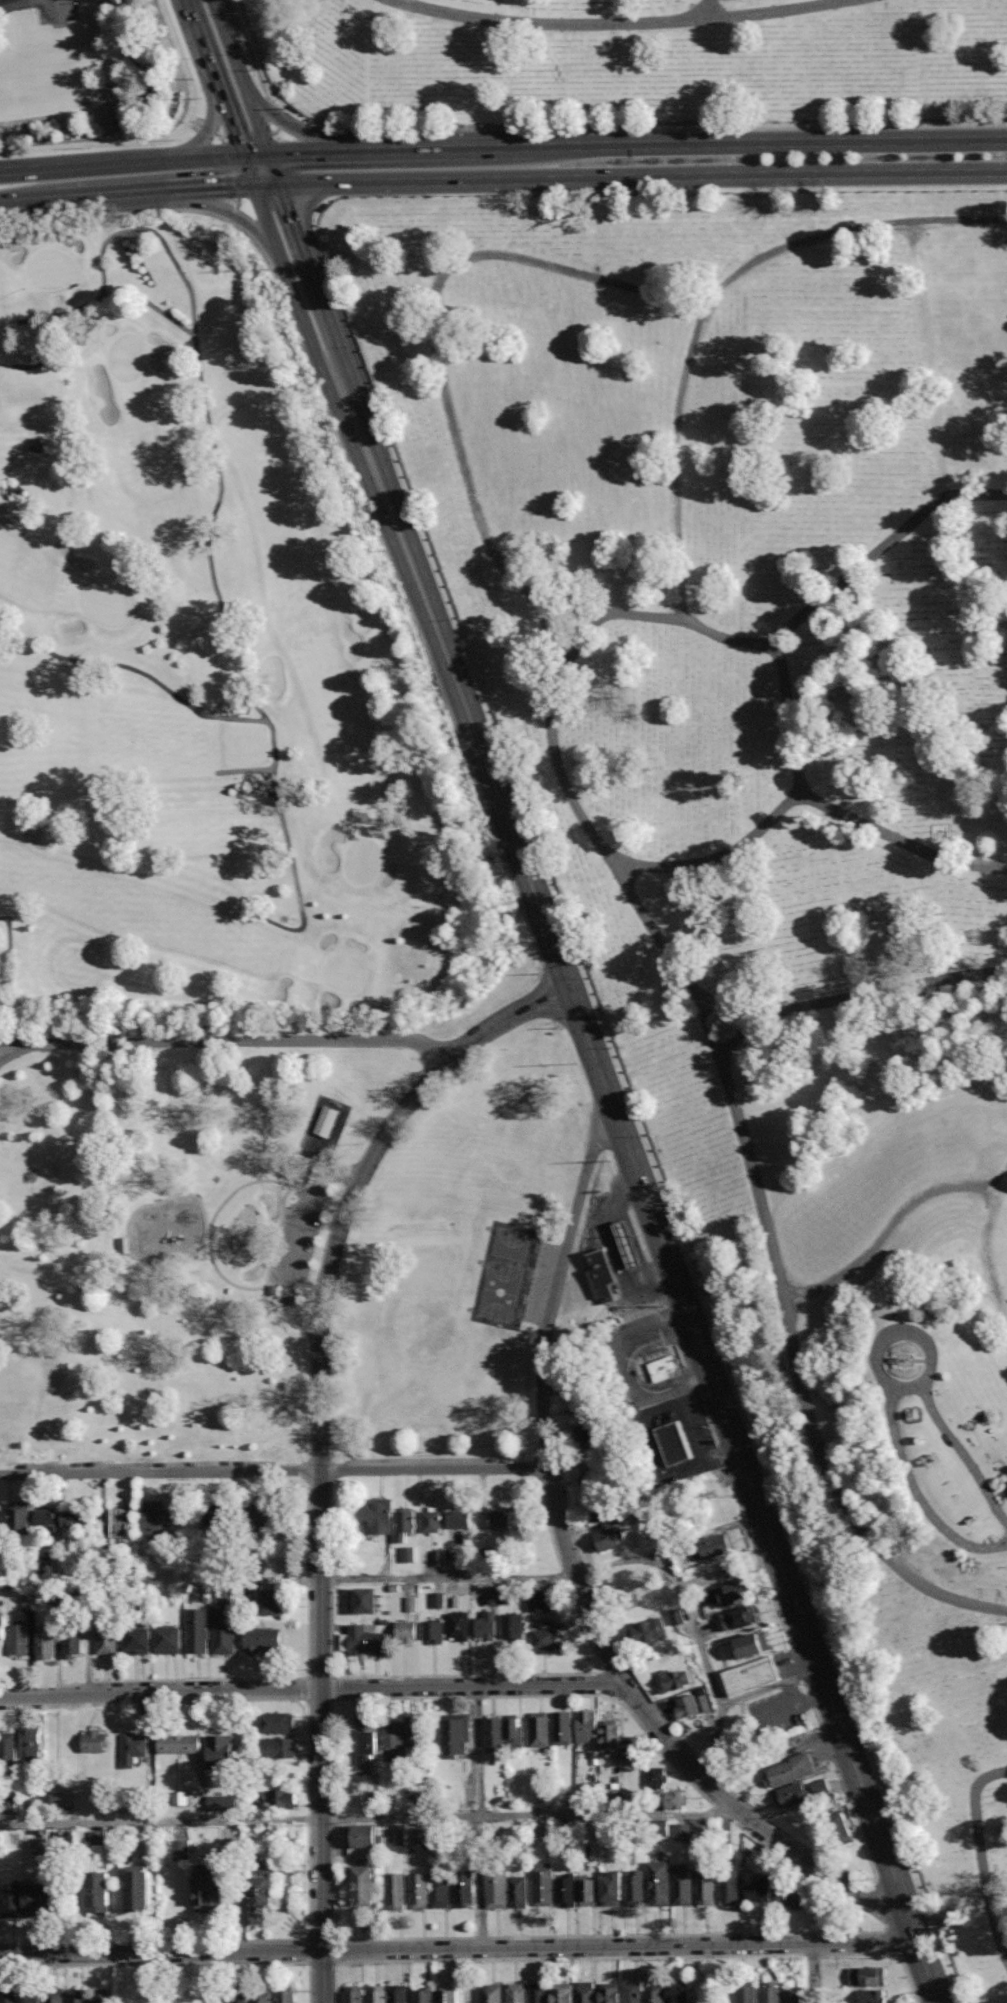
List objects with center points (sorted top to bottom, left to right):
road: (28, 4)
road: (706, 9)
parking lot: (58, 11)
road: (58, 12)
road: (619, 24)
road: (204, 46)
park: (635, 61)
road: (241, 75)
park: (93, 77)
traffic signals: (212, 118)
road: (285, 120)
road: (232, 122)
road: (285, 123)
road: (209, 126)
traffic signals: (289, 127)
road: (580, 127)
road: (209, 128)
traffic signals: (235, 130)
road: (278, 130)
road: (251, 133)
road: (222, 134)
road: (225, 134)
road: (770, 141)
road: (432, 149)
road: (299, 151)
traffic signals: (299, 152)
road: (256, 154)
road: (215, 155)
street lamp: (884, 156)
street lamp: (740, 158)
street lamp: (649, 160)
street lamp: (613, 161)
road: (272, 163)
road: (93, 164)
road: (246, 164)
road: (233, 168)
road: (643, 177)
road: (252, 179)
road: (278, 179)
road: (268, 185)
road: (213, 187)
traffic signals: (224, 187)
road: (115, 194)
road: (29, 201)
road: (241, 201)
traffic signals: (289, 208)
road: (228, 211)
traffic signals: (228, 211)
road: (235, 212)
road: (235, 221)
road: (309, 263)
road: (299, 301)
road: (151, 305)
road: (707, 305)
road: (343, 377)
building: (36, 445)
road: (218, 463)
road: (503, 570)
road: (550, 613)
road: (130, 653)
park: (207, 662)
road: (236, 719)
road: (248, 772)
road: (832, 810)
park: (773, 830)
road: (721, 856)
traffic signals: (569, 989)
road: (843, 999)
road: (227, 1040)
road: (731, 1046)
road: (13, 1050)
building: (325, 1121)
road: (882, 1130)
road: (743, 1134)
road: (613, 1161)
road: (321, 1162)
road: (623, 1187)
road: (649, 1206)
road: (211, 1225)
road: (216, 1227)
parking lot: (304, 1227)
road: (125, 1228)
road: (273, 1232)
road: (639, 1232)
road: (887, 1232)
park: (285, 1233)
road: (296, 1240)
park: (509, 1244)
building: (627, 1244)
building: (124, 1246)
road: (986, 1246)
building: (602, 1277)
parking lot: (540, 1283)
park: (498, 1291)
road: (658, 1301)
road: (673, 1356)
building: (662, 1366)
road: (689, 1385)
road: (909, 1390)
building: (578, 1399)
road: (318, 1416)
road: (708, 1423)
building: (584, 1434)
building: (673, 1443)
road: (963, 1454)
road: (723, 1465)
road: (275, 1470)
building: (589, 1475)
road: (549, 1482)
road: (317, 1483)
road: (916, 1496)
road: (735, 1500)
building: (601, 1509)
building: (380, 1515)
building: (46, 1516)
building: (217, 1516)
building: (259, 1516)
building: (19, 1517)
building: (155, 1517)
building: (75, 1518)
building: (458, 1518)
building: (431, 1519)
building: (498, 1519)
road: (742, 1520)
building: (403, 1521)
building: (120, 1522)
road: (568, 1524)
road: (547, 1525)
road: (306, 1527)
road: (329, 1528)
building: (607, 1538)
building: (714, 1545)
building: (405, 1552)
building: (436, 1555)
building: (45, 1563)
road: (584, 1573)
road: (562, 1576)
road: (306, 1578)
road: (330, 1578)
road: (577, 1578)
road: (318, 1579)
building: (392, 1585)
road: (767, 1586)
building: (722, 1591)
building: (221, 1594)
building: (495, 1595)
building: (363, 1599)
building: (438, 1599)
building: (24, 1600)
building: (273, 1601)
building: (408, 1602)
building: (539, 1602)
building: (739, 1617)
road: (694, 1624)
building: (458, 1626)
building: (486, 1626)
building: (512, 1626)
building: (1, 1629)
building: (197, 1630)
building: (223, 1630)
road: (307, 1630)
road: (330, 1630)
building: (405, 1631)
building: (432, 1631)
building: (647, 1631)
building: (106, 1636)
building: (18, 1638)
building: (169, 1639)
building: (262, 1639)
building: (138, 1640)
building: (362, 1641)
building: (543, 1641)
building: (44, 1642)
building: (72, 1644)
building: (750, 1644)
road: (795, 1663)
road: (513, 1674)
road: (319, 1676)
building: (750, 1676)
building: (675, 1677)
road: (199, 1678)
road: (633, 1679)
road: (602, 1684)
road: (332, 1687)
road: (804, 1687)
road: (314, 1688)
road: (307, 1689)
road: (770, 1689)
road: (107, 1690)
road: (475, 1696)
road: (342, 1698)
road: (319, 1700)
road: (809, 1701)
road: (620, 1702)
building: (705, 1703)
building: (686, 1705)
road: (815, 1716)
building: (277, 1722)
building: (586, 1725)
building: (562, 1727)
building: (539, 1729)
building: (515, 1732)
building: (414, 1733)
building: (494, 1734)
building: (456, 1735)
building: (610, 1737)
building: (95, 1740)
building: (393, 1740)
building: (179, 1743)
building: (30, 1745)
building: (368, 1745)
building: (8, 1746)
building: (278, 1747)
building: (133, 1748)
building: (220, 1749)
building: (632, 1751)
road: (832, 1761)
building: (788, 1770)
road: (709, 1772)
building: (656, 1777)
building: (820, 1787)
building: (61, 1790)
building: (590, 1791)
road: (714, 1792)
building: (176, 1795)
building: (792, 1795)
building: (613, 1797)
building: (280, 1798)
building: (673, 1799)
building: (218, 1801)
road: (721, 1813)
road: (479, 1816)
road: (370, 1818)
road: (331, 1819)
building: (700, 1827)
building: (657, 1829)
building: (840, 1829)
building: (682, 1830)
building: (94, 1836)
building: (420, 1836)
building: (395, 1837)
road: (751, 1837)
building: (365, 1838)
building: (35, 1843)
building: (181, 1849)
road: (983, 1856)
road: (788, 1861)
road: (828, 1862)
road: (308, 1881)
building: (659, 1882)
building: (543, 1884)
building: (682, 1884)
building: (611, 1885)
building: (705, 1885)
building: (364, 1886)
building: (137, 1887)
building: (206, 1887)
building: (635, 1887)
building: (729, 1888)
building: (760, 1888)
building: (261, 1889)
building: (418, 1889)
building: (441, 1889)
building: (464, 1889)
building: (506, 1889)
building: (565, 1889)
building: (588, 1889)
building: (395, 1890)
building: (97, 1891)
building: (792, 1897)
road: (842, 1898)
building: (32, 1899)
road: (878, 1901)
road: (998, 1911)
road: (688, 1934)
road: (480, 1937)
road: (346, 1938)
road: (319, 1939)
road: (890, 1941)
road: (619, 1945)
road: (331, 1949)
road: (307, 1950)
road: (160, 1952)
road: (884, 1953)
road: (810, 1954)
road: (567, 1957)
road: (319, 1962)
road: (174, 1963)
road: (812, 1973)
building: (866, 1975)
road: (322, 1976)
road: (331, 1982)
building: (747, 1991)
building: (516, 1992)
building: (538, 1992)
building: (562, 1992)
building: (585, 1992)
building: (632, 1992)
building: (680, 1992)
building: (770, 1992)
building: (491, 1993)
building: (654, 1993)
building: (286, 1994)
building: (353, 1994)
building: (376, 1994)
building: (398, 1994)
building: (447, 1994)
building: (609, 1994)
building: (794, 1994)
building: (101, 1995)
building: (262, 1995)
building: (422, 1995)
building: (54, 1996)
building: (78, 1996)
building: (872, 1996)
building: (9, 1997)
building: (31, 1997)
building: (239, 1997)
building: (217, 1998)

